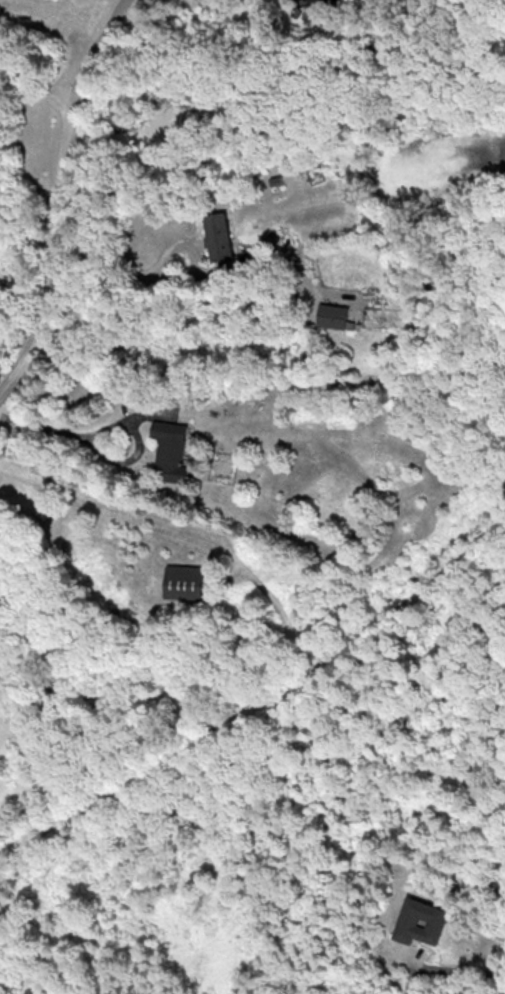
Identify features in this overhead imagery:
road: (36, 90)
road: (57, 195)
building: (217, 236)
road: (125, 276)
building: (332, 315)
road: (59, 434)
building: (170, 450)
building: (184, 581)
park: (261, 692)
road: (262, 703)
building: (419, 921)
road: (410, 977)

